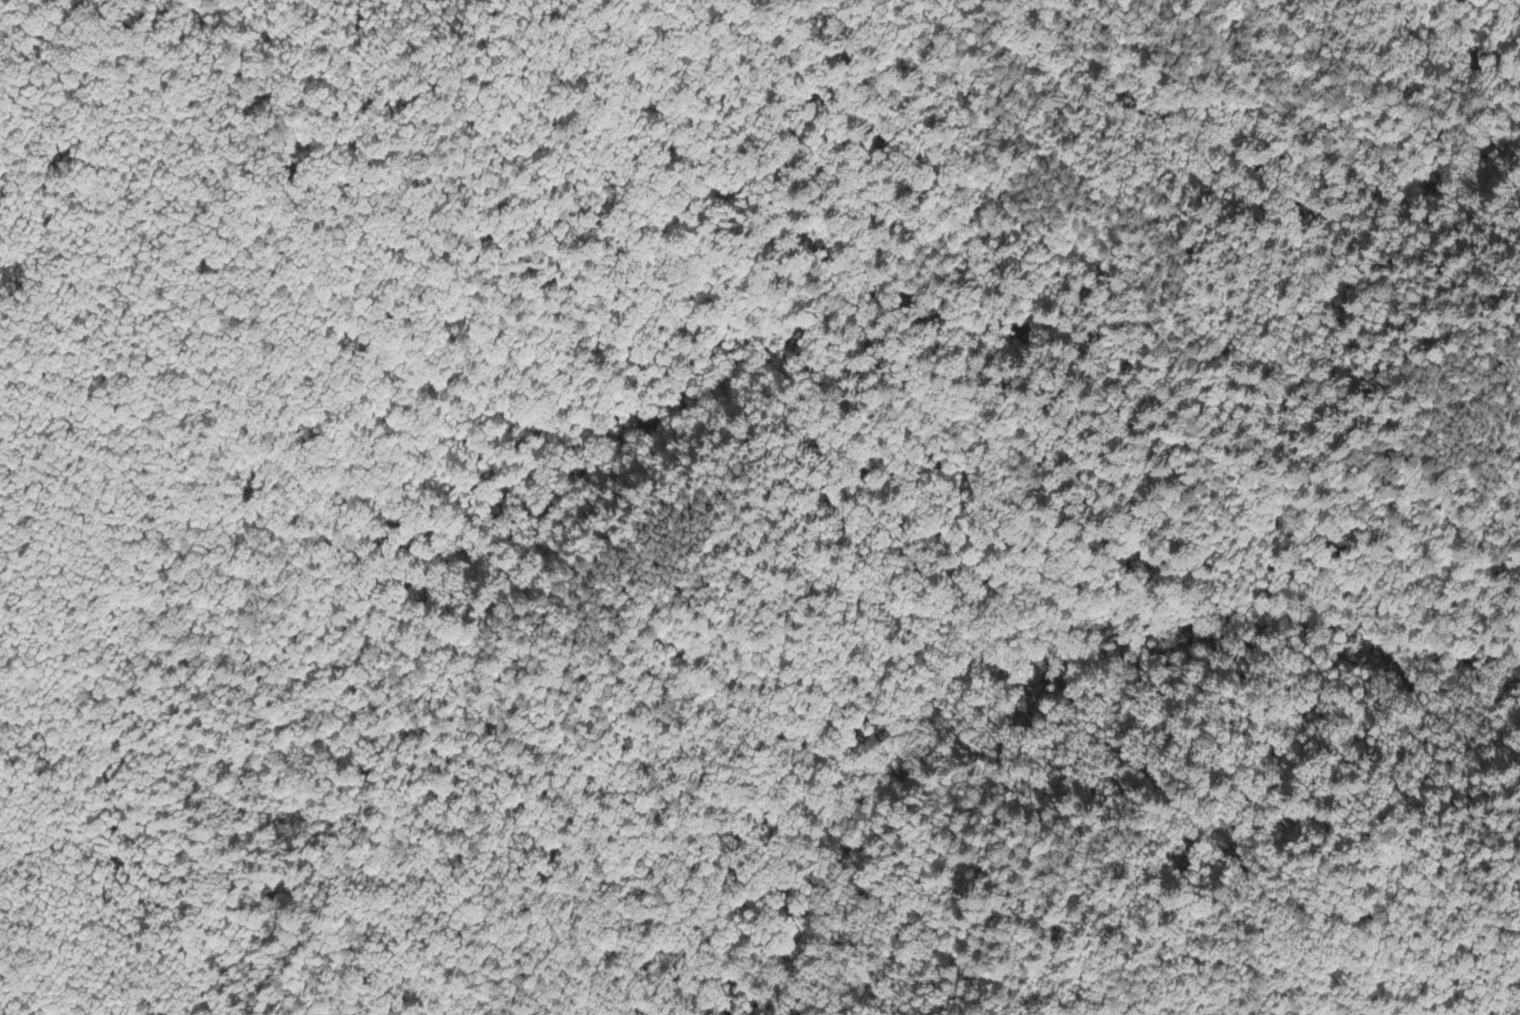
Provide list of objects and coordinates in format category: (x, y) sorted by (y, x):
road: (1102, 501)

